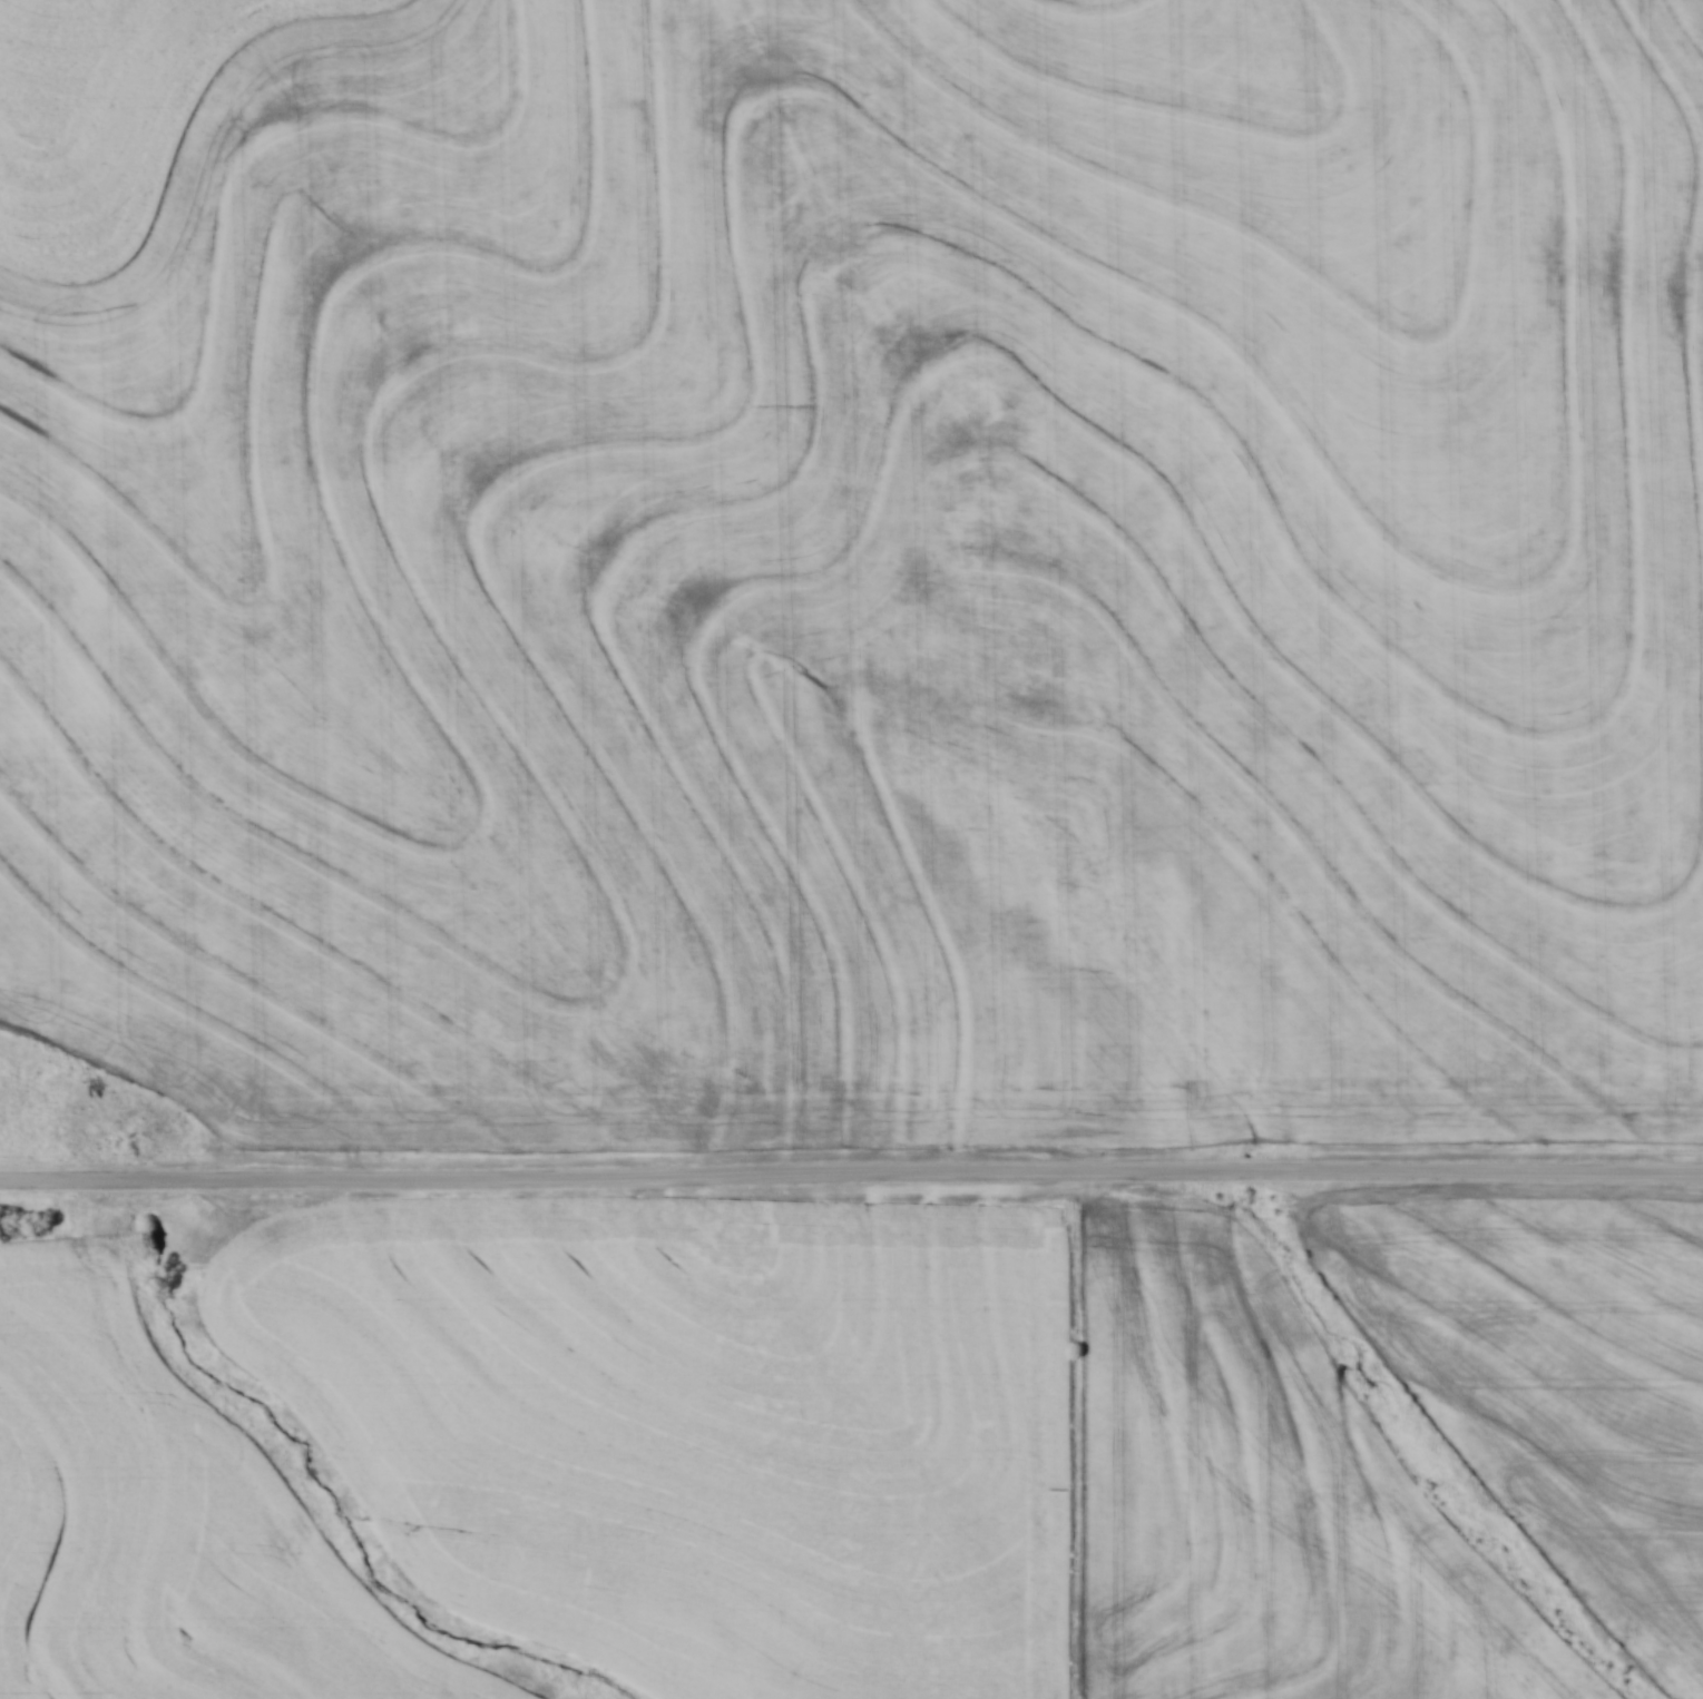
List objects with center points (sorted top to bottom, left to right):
road: (851, 1177)

